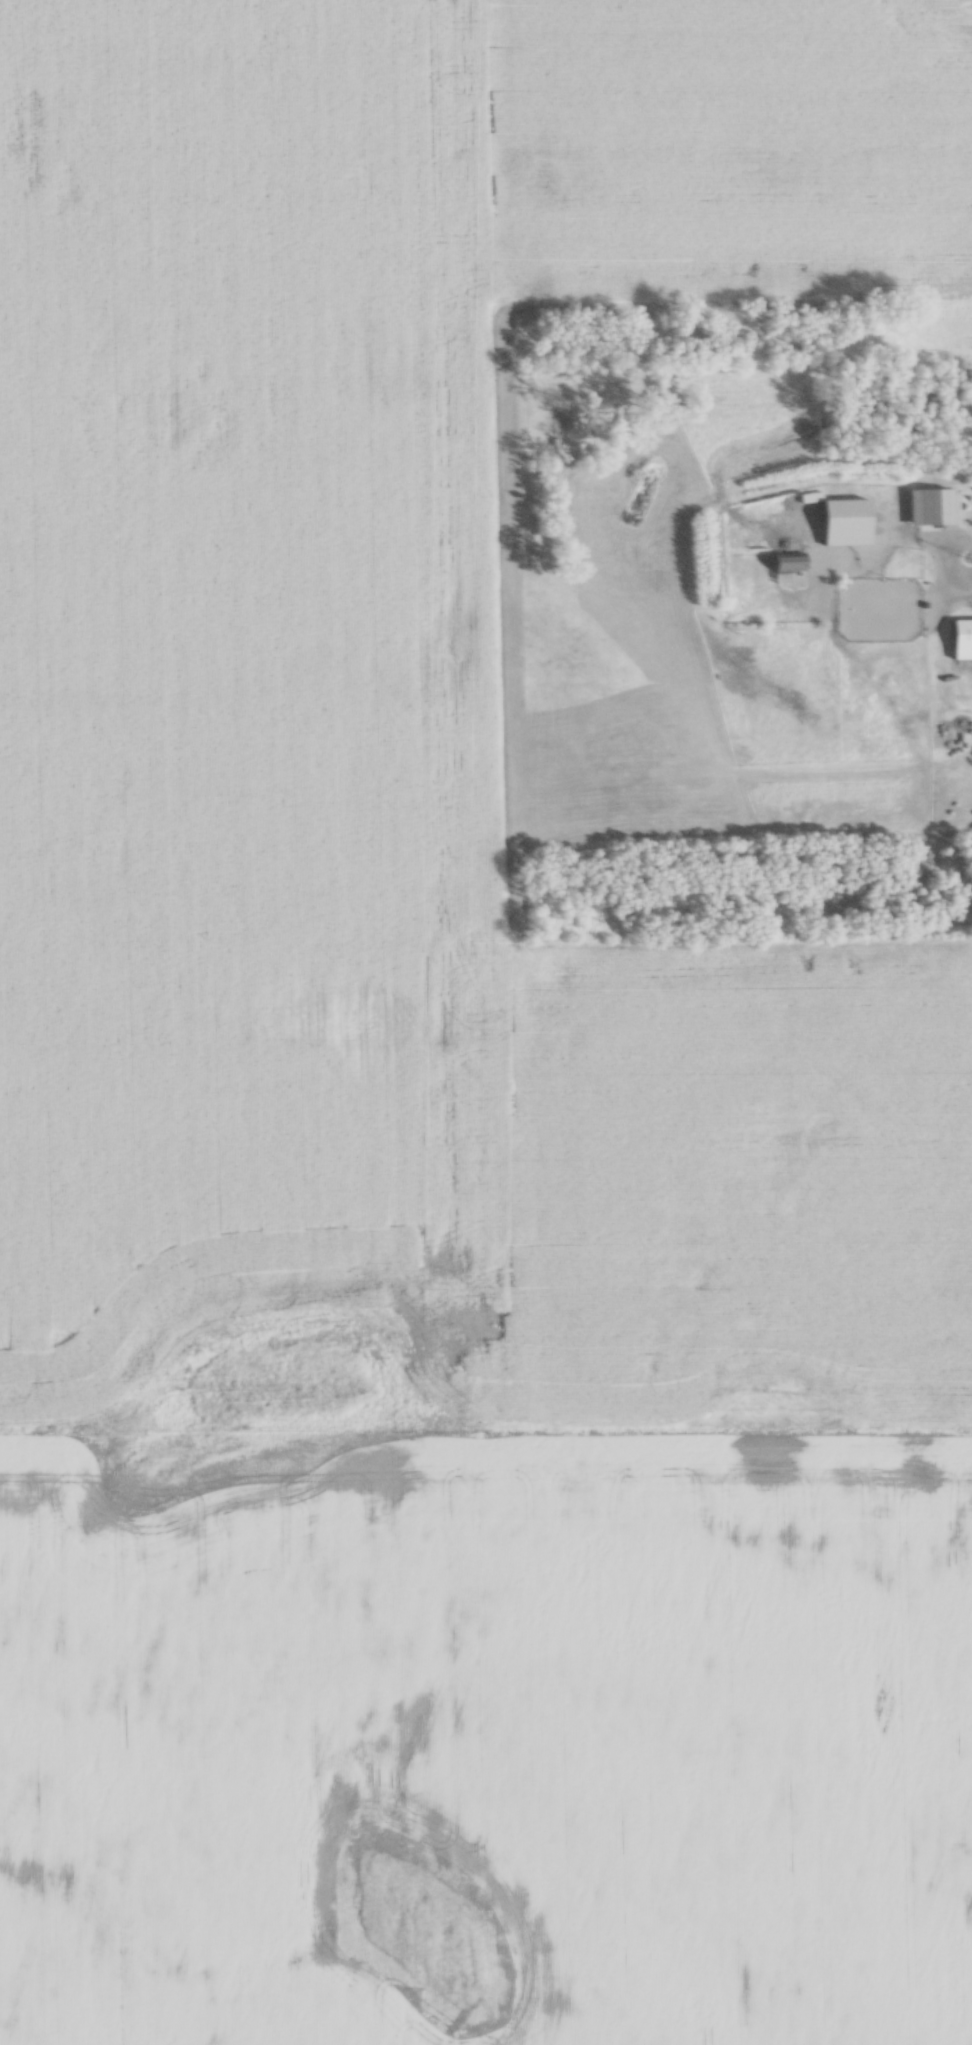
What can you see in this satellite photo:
building: (940, 527)
building: (852, 533)
building: (789, 565)
building: (962, 636)

